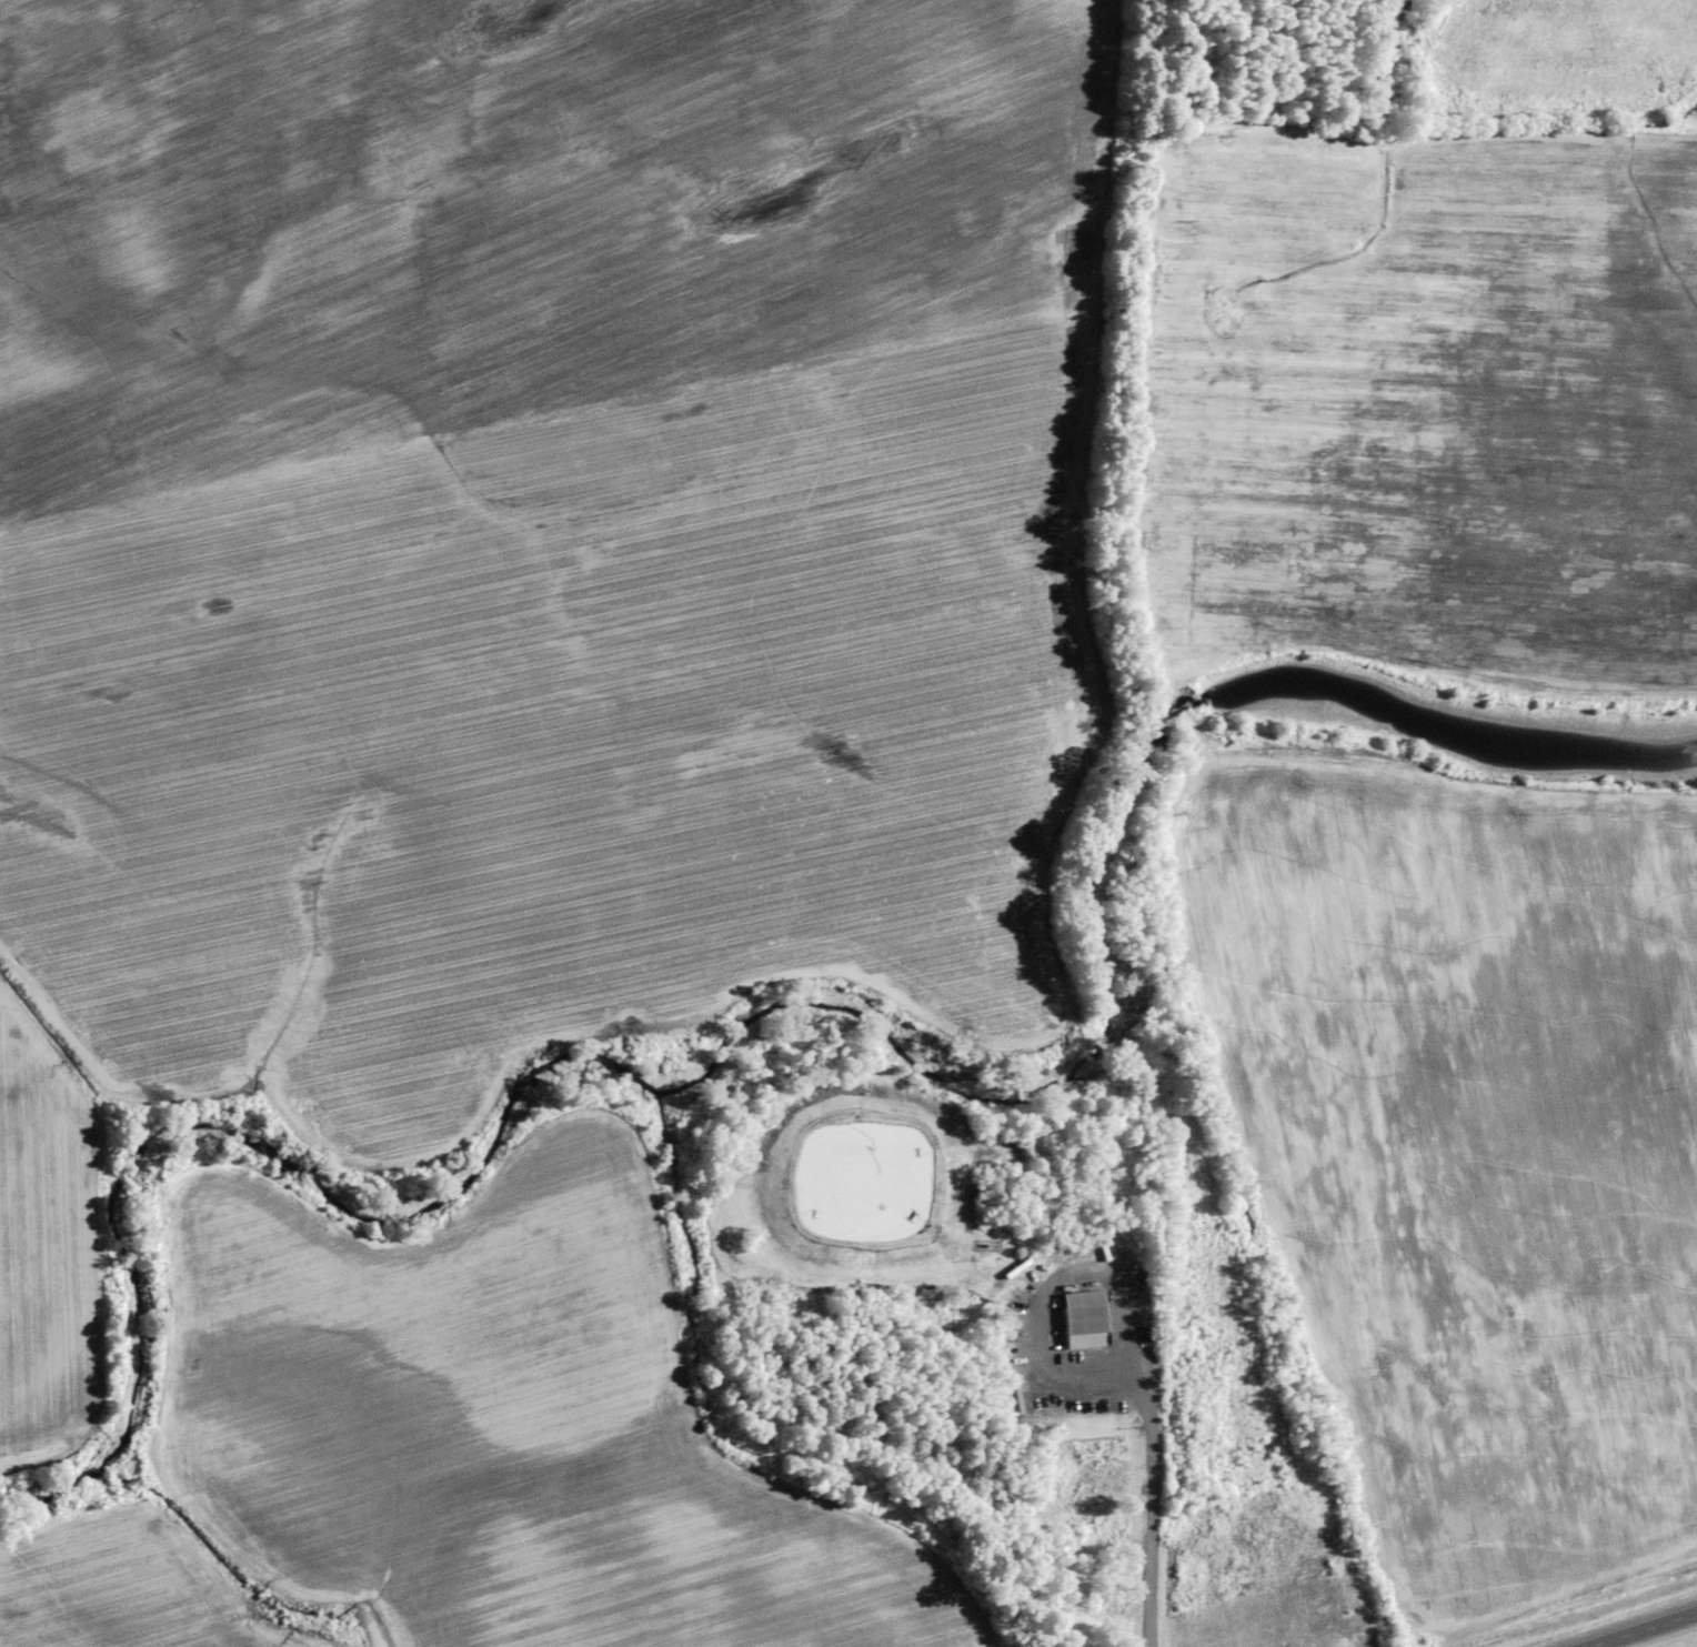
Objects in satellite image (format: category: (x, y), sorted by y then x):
building: (1088, 1317)
road: (1148, 1463)
building: (1315, 1600)
road: (1644, 1629)

